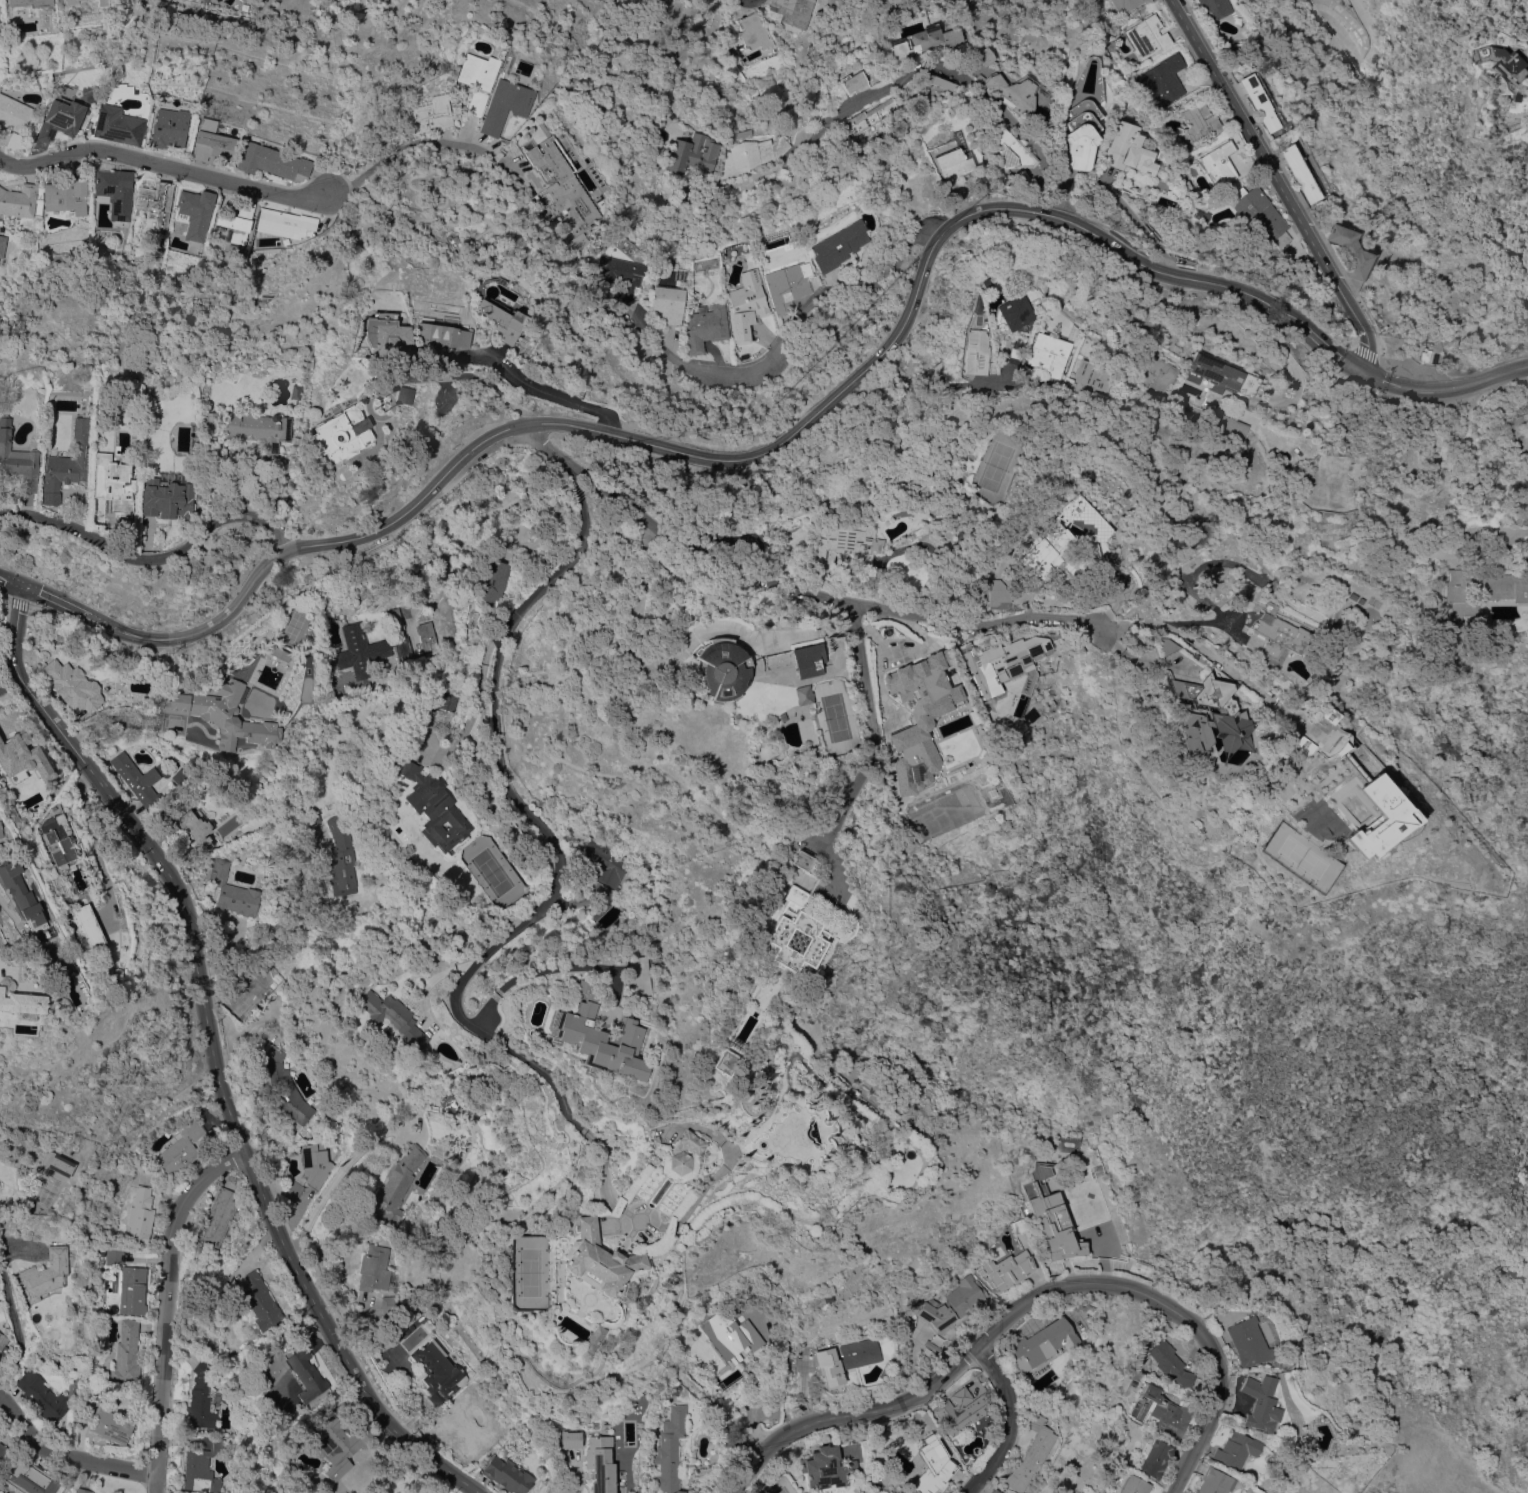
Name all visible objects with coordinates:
building: (72, 1)
building: (104, 2)
building: (885, 2)
building: (30, 3)
building: (1127, 5)
building: (245, 7)
building: (1213, 8)
building: (793, 12)
building: (908, 27)
building: (756, 32)
building: (1147, 37)
building: (924, 40)
building: (1051, 46)
building: (984, 56)
building: (1518, 65)
building: (1165, 78)
building: (478, 79)
building: (852, 81)
building: (941, 85)
road: (974, 88)
building: (1013, 92)
building: (506, 105)
building: (1261, 105)
building: (16, 114)
building: (430, 115)
building: (1083, 115)
building: (870, 116)
building: (61, 119)
building: (118, 125)
building: (1197, 125)
building: (170, 128)
building: (17, 142)
building: (212, 142)
road: (422, 142)
building: (1000, 143)
building: (1128, 150)
building: (694, 153)
building: (753, 154)
building: (273, 162)
building: (952, 164)
building: (1218, 164)
road: (162, 167)
building: (1300, 172)
road: (1279, 183)
building: (1187, 185)
building: (563, 191)
building: (116, 192)
building: (66, 196)
building: (19, 201)
building: (157, 202)
building: (196, 212)
building: (1257, 215)
building: (236, 222)
building: (285, 223)
building: (289, 243)
building: (2, 244)
building: (807, 245)
building: (840, 246)
building: (1350, 249)
building: (623, 278)
building: (789, 286)
building: (747, 305)
building: (670, 307)
building: (1013, 316)
building: (502, 319)
building: (706, 327)
building: (386, 332)
building: (442, 335)
road: (792, 338)
road: (1243, 338)
road: (1276, 340)
road: (1332, 346)
building: (976, 352)
building: (1016, 354)
building: (1049, 354)
road: (1525, 365)
building: (1154, 371)
traffic signals: (1363, 371)
building: (1094, 375)
building: (1221, 376)
road: (455, 378)
road: (542, 388)
road: (1443, 390)
building: (402, 395)
road: (903, 399)
building: (212, 420)
building: (1233, 426)
building: (258, 428)
building: (341, 432)
building: (17, 459)
road: (725, 459)
building: (67, 463)
building: (114, 484)
building: (166, 498)
building: (847, 547)
building: (1057, 554)
road: (154, 557)
road: (11, 580)
building: (494, 582)
traffic signals: (23, 585)
road: (793, 586)
building: (1481, 592)
building: (998, 595)
building: (1352, 596)
building: (1359, 600)
road: (55, 601)
road: (634, 610)
road: (1166, 620)
building: (398, 622)
road: (799, 633)
building: (429, 636)
building: (1275, 640)
building: (368, 650)
building: (282, 654)
building: (809, 659)
building: (1000, 662)
building: (724, 671)
road: (1231, 672)
road: (858, 673)
building: (74, 685)
building: (2, 687)
building: (804, 695)
building: (448, 700)
road: (476, 705)
building: (225, 714)
building: (1209, 714)
building: (1328, 714)
road: (118, 721)
building: (918, 725)
building: (1302, 743)
building: (22, 758)
building: (138, 779)
road: (853, 793)
building: (439, 813)
building: (1377, 814)
building: (312, 817)
building: (168, 825)
building: (197, 830)
building: (1, 831)
building: (58, 838)
building: (788, 845)
building: (341, 857)
building: (798, 860)
building: (603, 863)
road: (558, 874)
building: (233, 891)
building: (22, 894)
building: (89, 928)
building: (791, 935)
road: (536, 972)
building: (70, 982)
building: (23, 1004)
building: (393, 1017)
building: (602, 1038)
road: (214, 1051)
building: (721, 1062)
building: (286, 1088)
building: (444, 1095)
building: (181, 1148)
building: (684, 1152)
building: (60, 1163)
building: (315, 1164)
road: (344, 1164)
building: (397, 1183)
building: (141, 1215)
building: (219, 1216)
building: (1052, 1218)
building: (1018, 1225)
building: (599, 1259)
building: (374, 1268)
building: (1004, 1270)
building: (43, 1274)
building: (130, 1285)
building: (388, 1300)
road: (1028, 1300)
building: (258, 1302)
road: (10, 1304)
building: (954, 1304)
road: (167, 1307)
building: (731, 1334)
building: (592, 1338)
building: (1247, 1341)
building: (1042, 1344)
building: (931, 1345)
building: (3, 1346)
building: (127, 1354)
building: (846, 1359)
building: (60, 1364)
building: (1170, 1364)
building: (437, 1371)
building: (305, 1373)
building: (1149, 1392)
building: (42, 1397)
building: (201, 1397)
building: (1262, 1403)
building: (959, 1413)
building: (1170, 1416)
building: (106, 1422)
road: (1012, 1423)
building: (465, 1431)
building: (575, 1435)
building: (339, 1442)
building: (2, 1448)
building: (1236, 1449)
building: (670, 1450)
building: (925, 1453)
building: (1031, 1454)
road: (68, 1456)
building: (1155, 1458)
building: (610, 1463)
building: (203, 1467)
building: (826, 1467)
building: (932, 1469)
road: (577, 1471)
building: (507, 1474)
road: (71, 1476)
building: (31, 1480)
building: (1215, 1482)
building: (1133, 1485)
building: (83, 1490)
building: (996, 1491)
building: (803, 1492)

